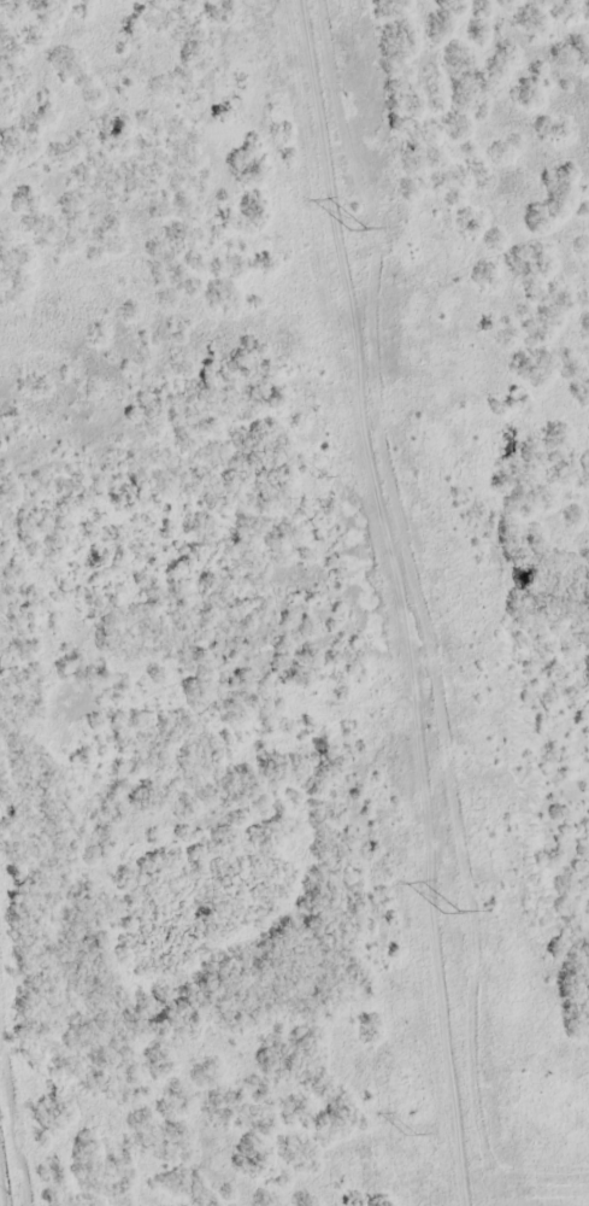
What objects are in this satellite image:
power tower: (355, 232)
power tower: (322, 478)
power tower: (448, 915)
power tower: (410, 1136)

